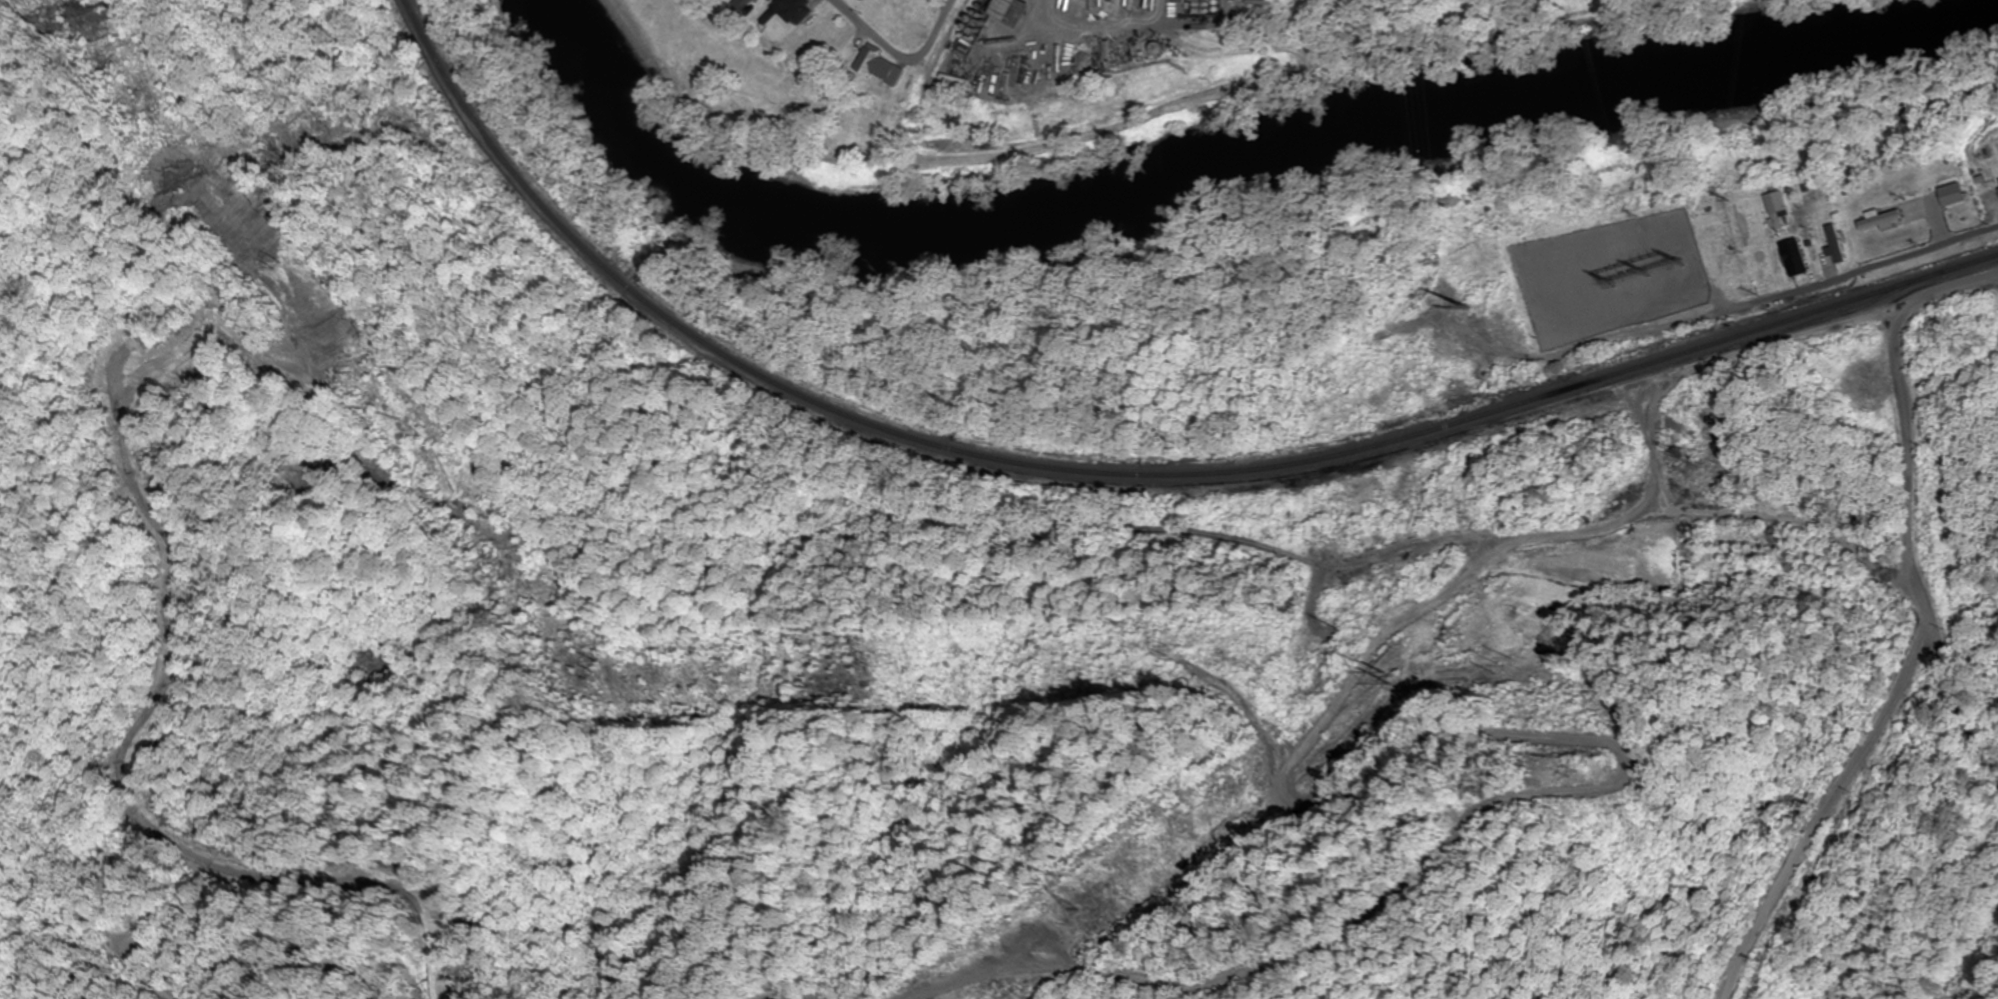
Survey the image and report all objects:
building: (796, 11)
road: (903, 48)
building: (877, 63)
river: (1237, 171)
building: (1926, 172)
building: (1781, 209)
building: (1902, 226)
building: (1842, 244)
power tower: (1626, 245)
building: (1797, 256)
power substation: (1612, 277)
power tower: (1635, 279)
road: (1833, 287)
power tower: (1470, 306)
road: (1773, 345)
road: (1903, 418)
power tower: (1678, 461)
railway: (1133, 469)
road: (1342, 564)
road: (15, 658)
road: (1950, 708)
road: (1463, 742)
road: (1847, 764)
power tower: (1078, 912)
road: (70, 914)

